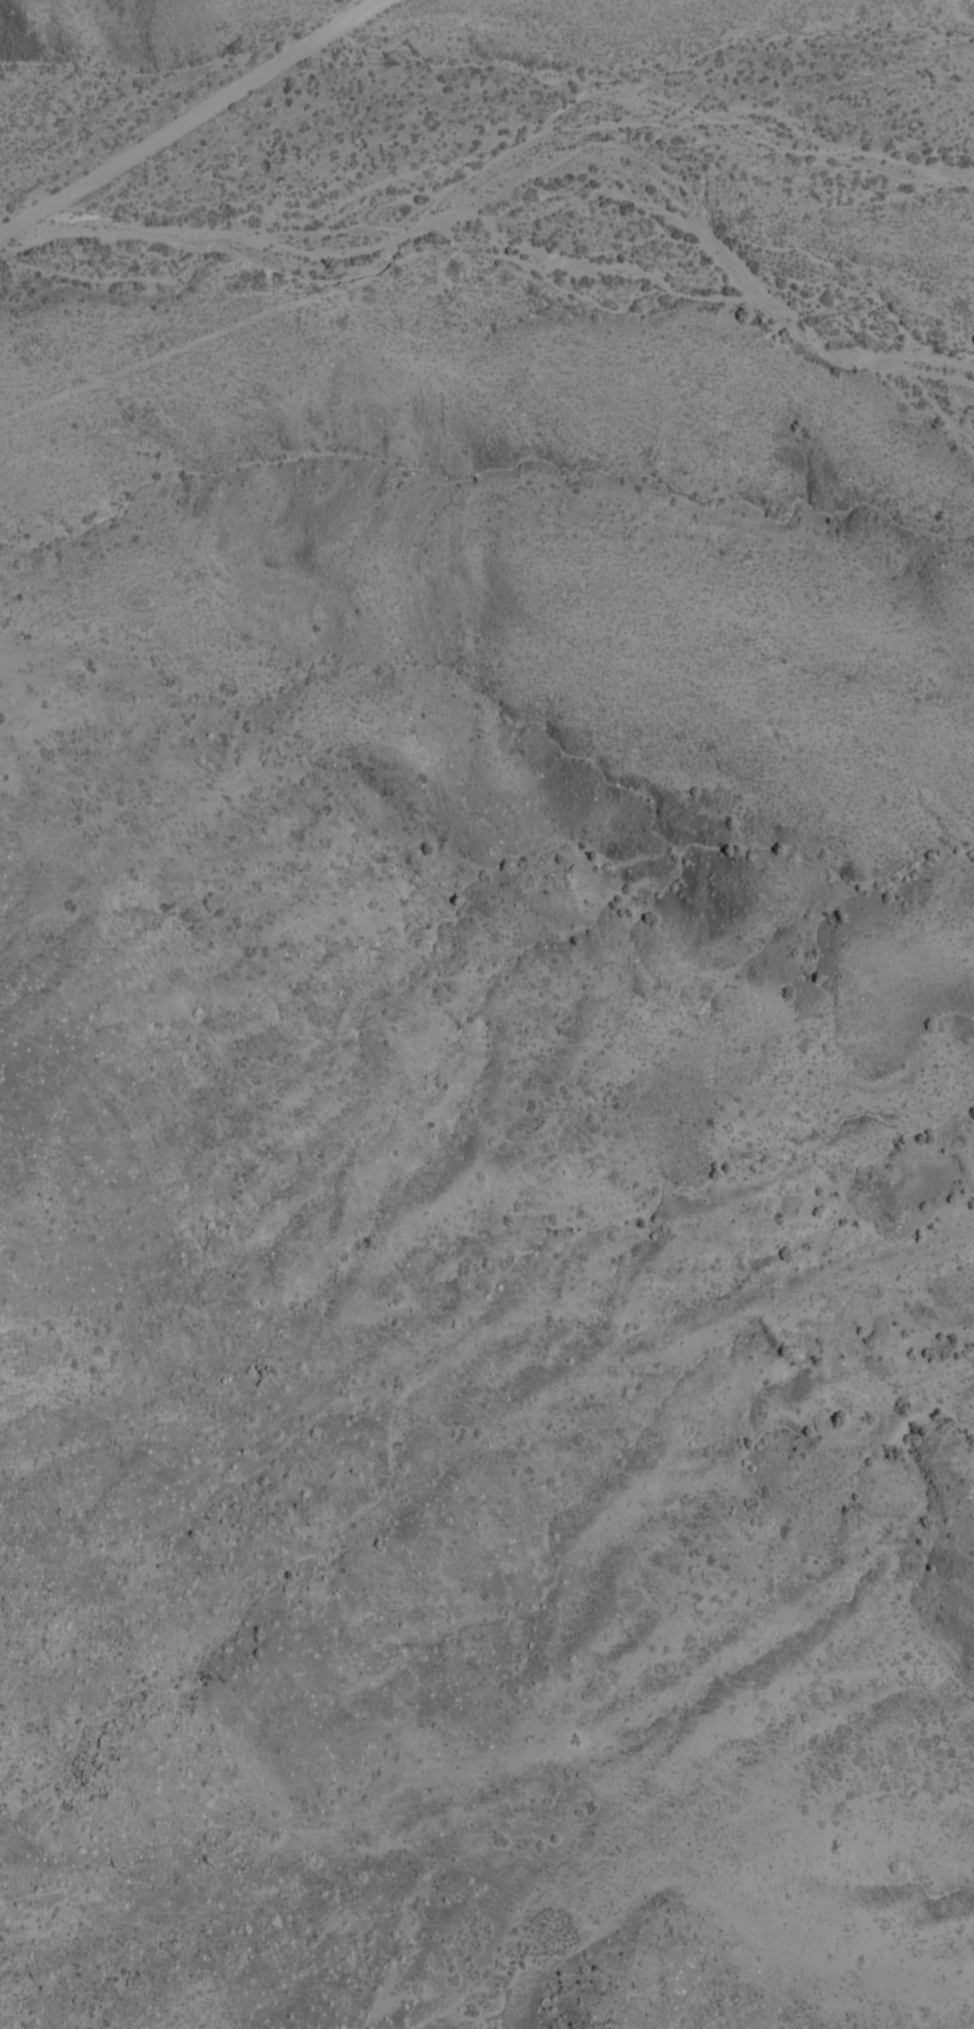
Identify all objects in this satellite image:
road: (955, 17)
road: (192, 118)

